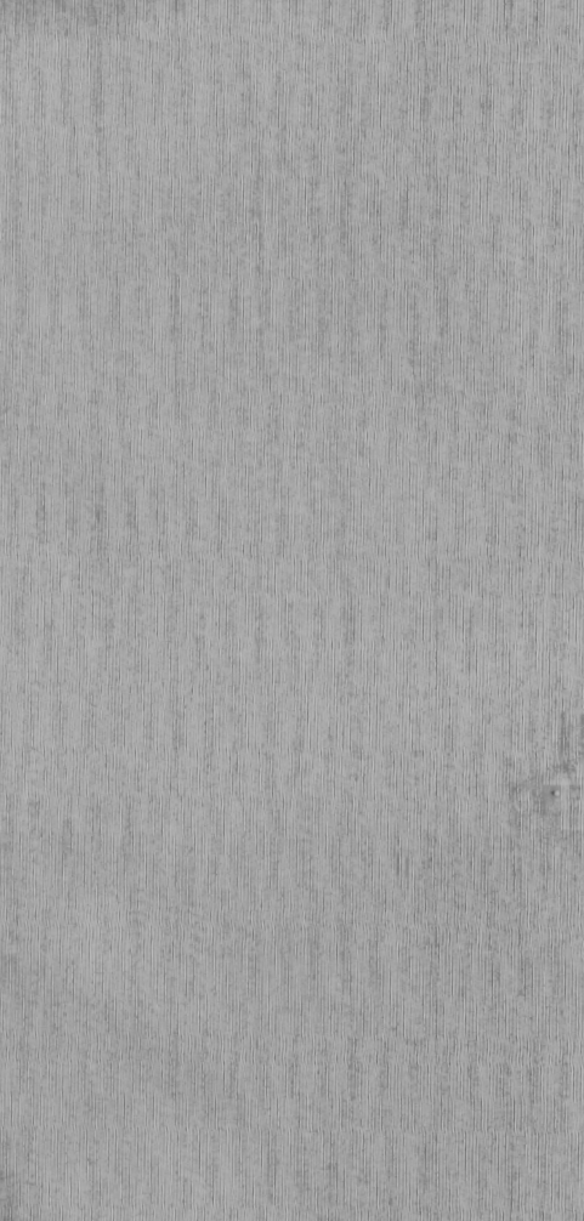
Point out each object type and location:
crop: (291, 610)

